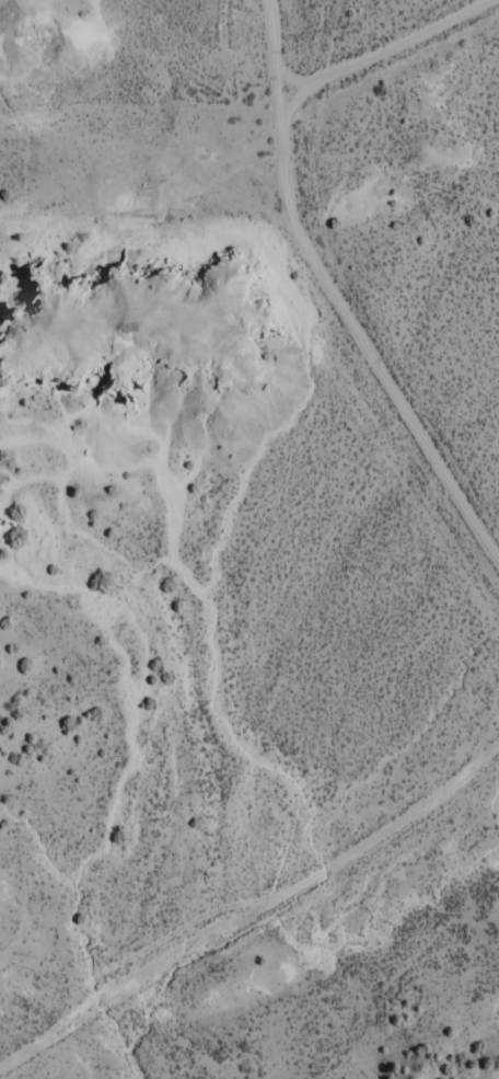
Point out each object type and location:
road: (355, 248)

